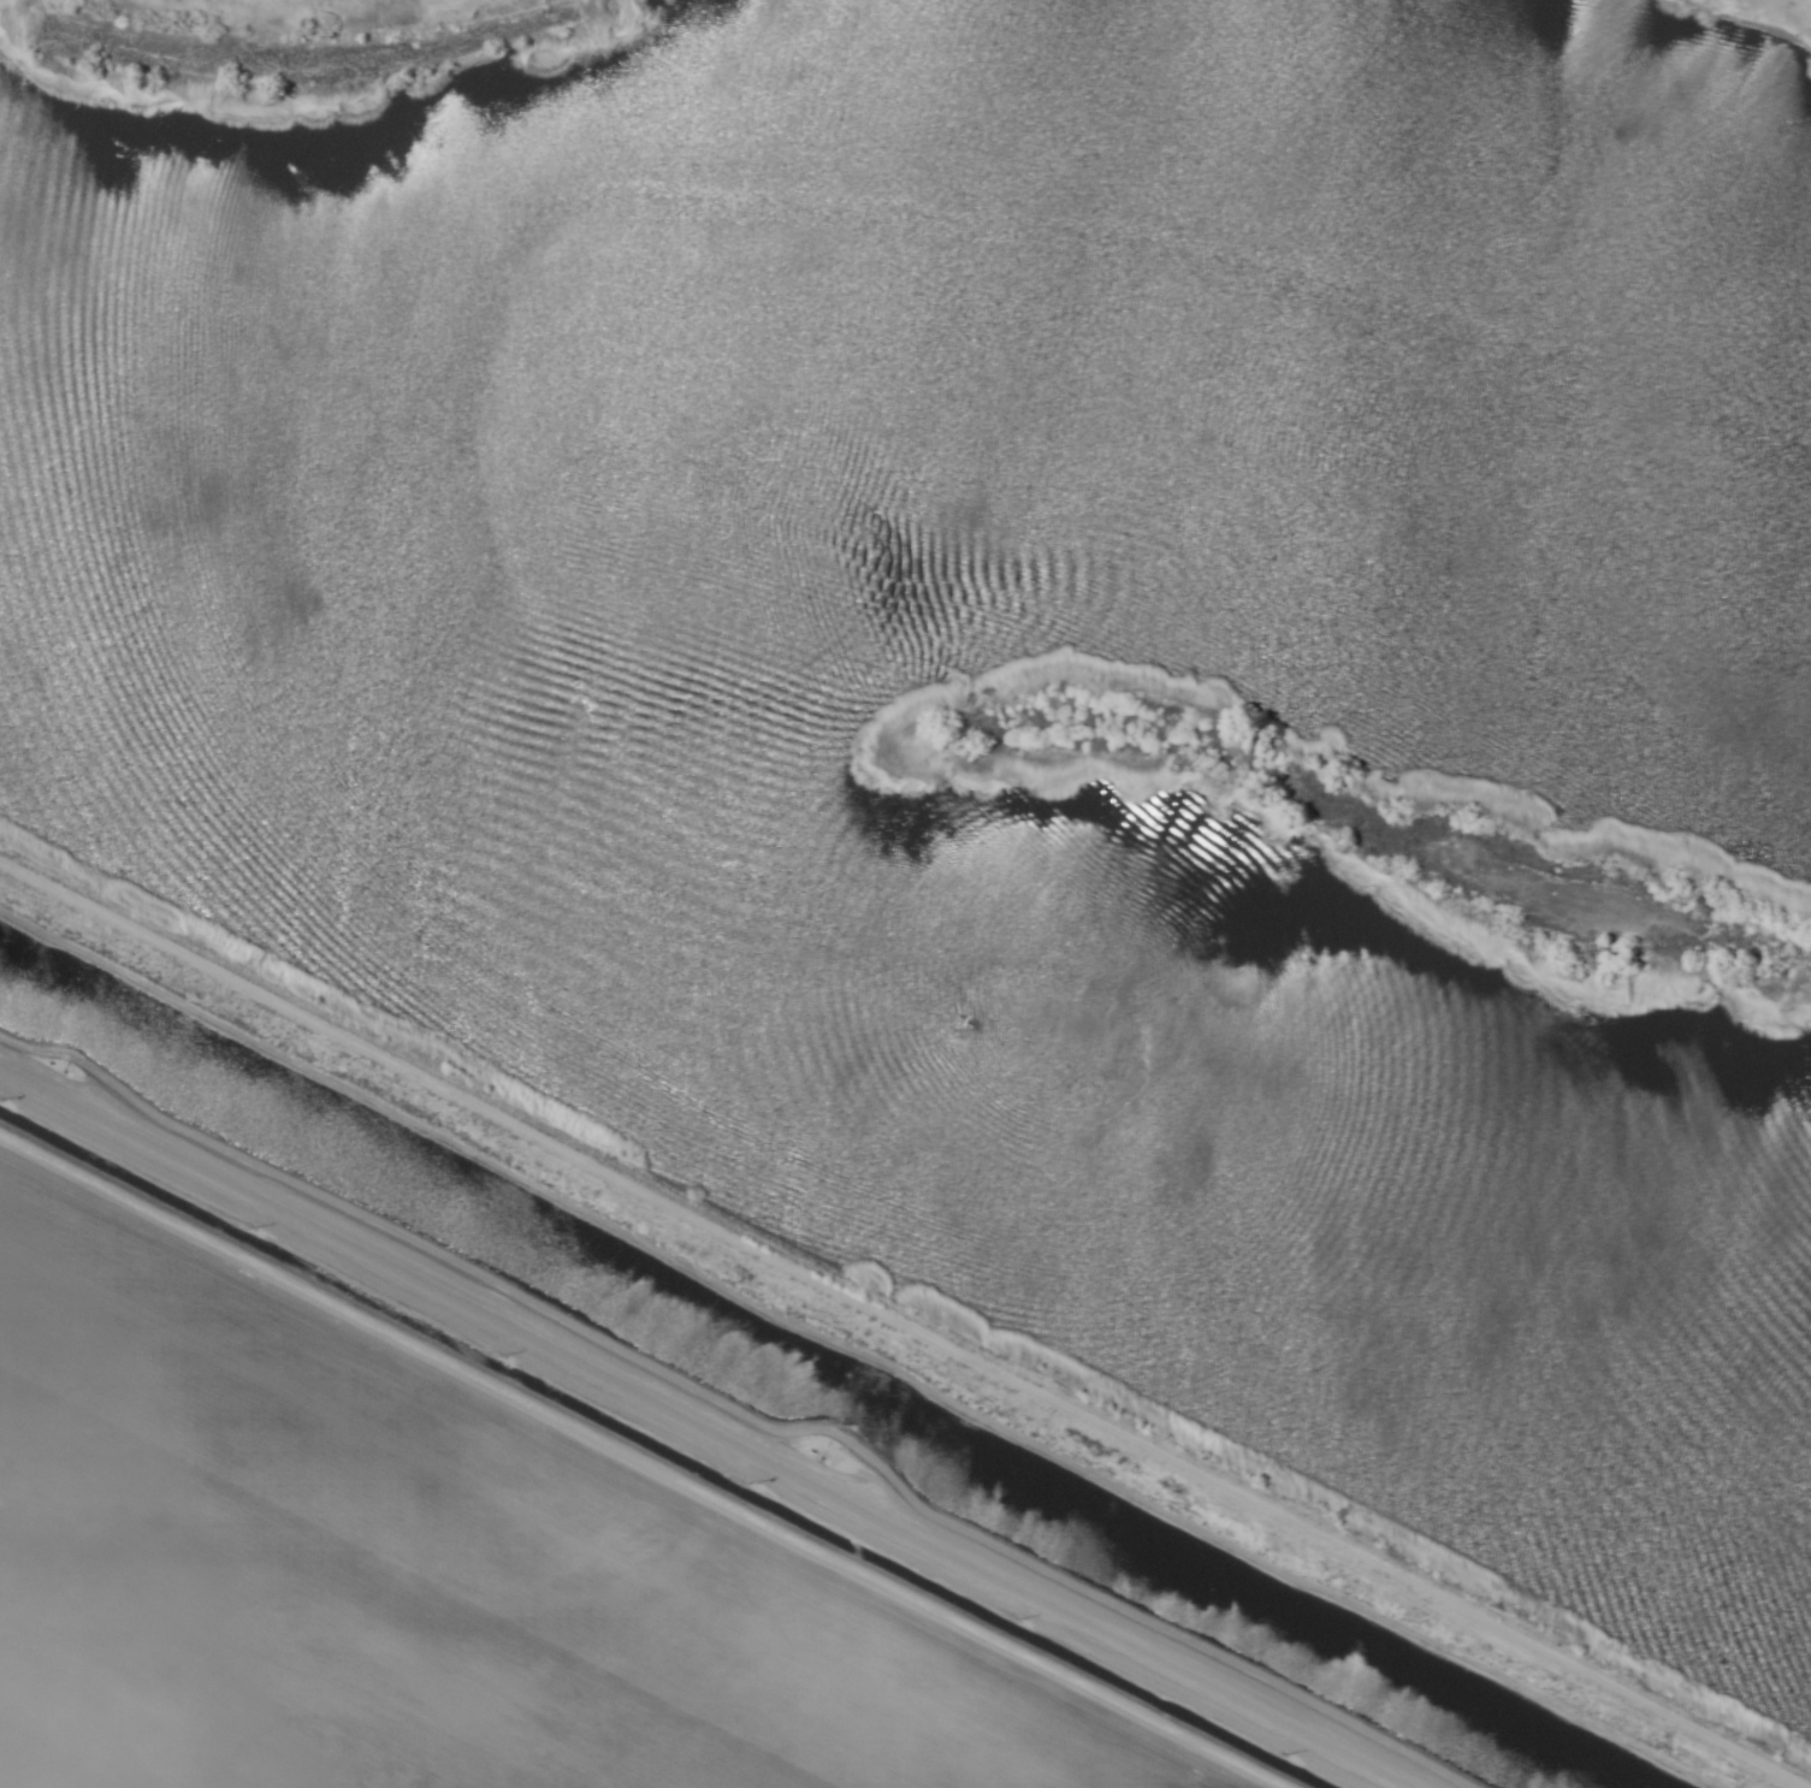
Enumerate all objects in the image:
crop: (519, 1520)

